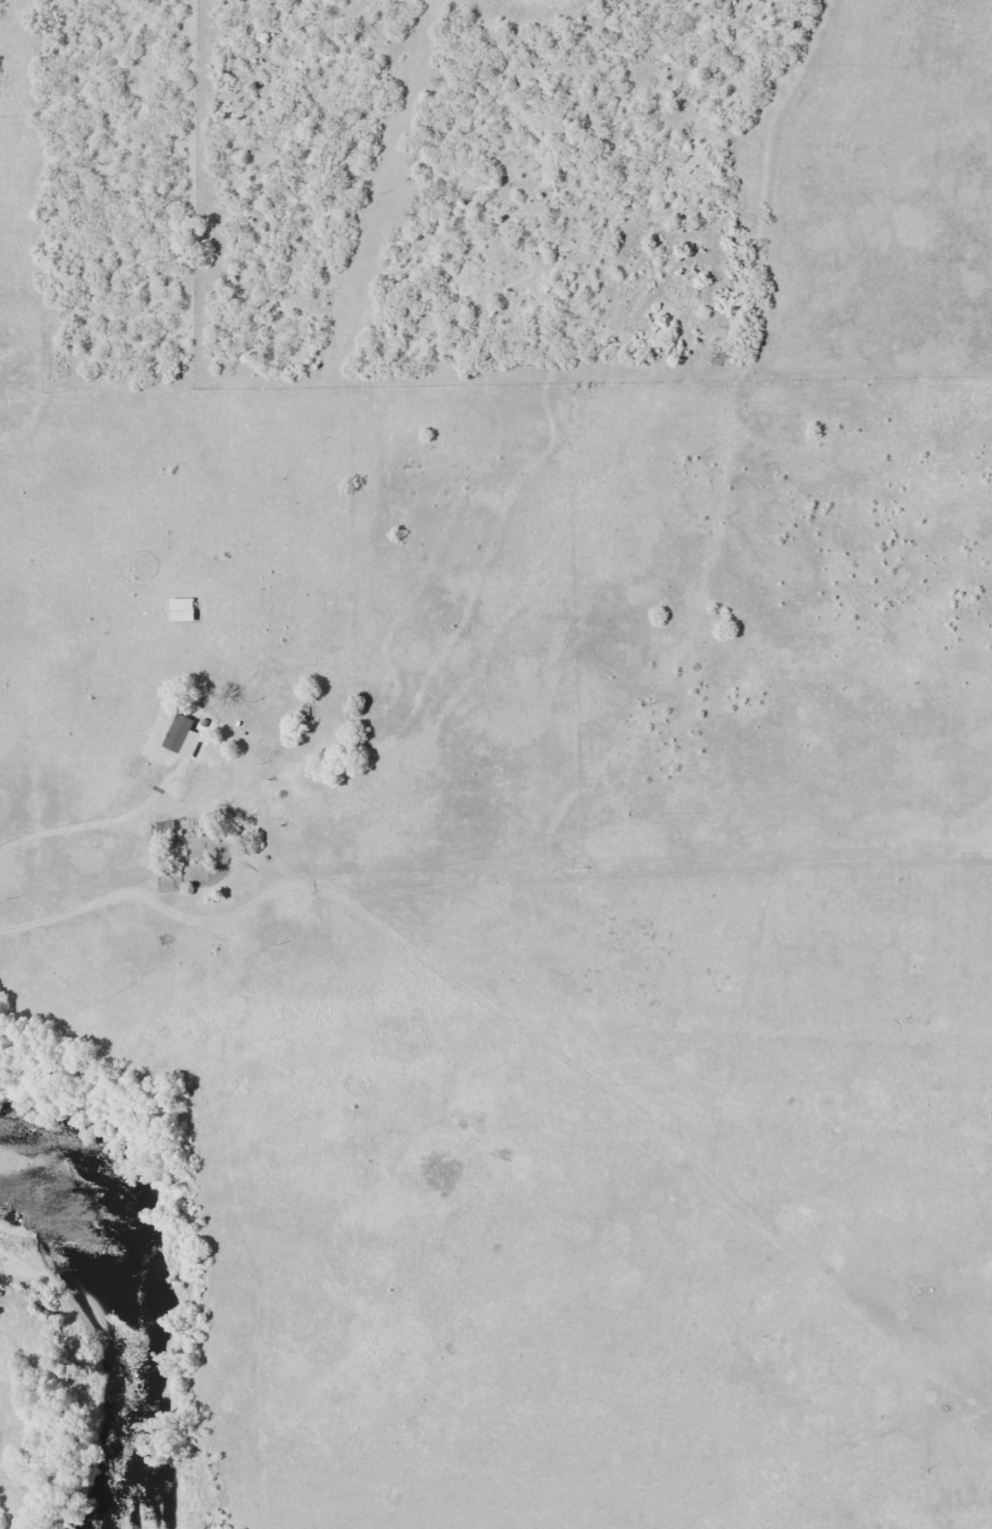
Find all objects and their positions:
building: (181, 737)
road: (53, 916)
road: (596, 1059)
road: (197, 1212)
river: (126, 1304)

